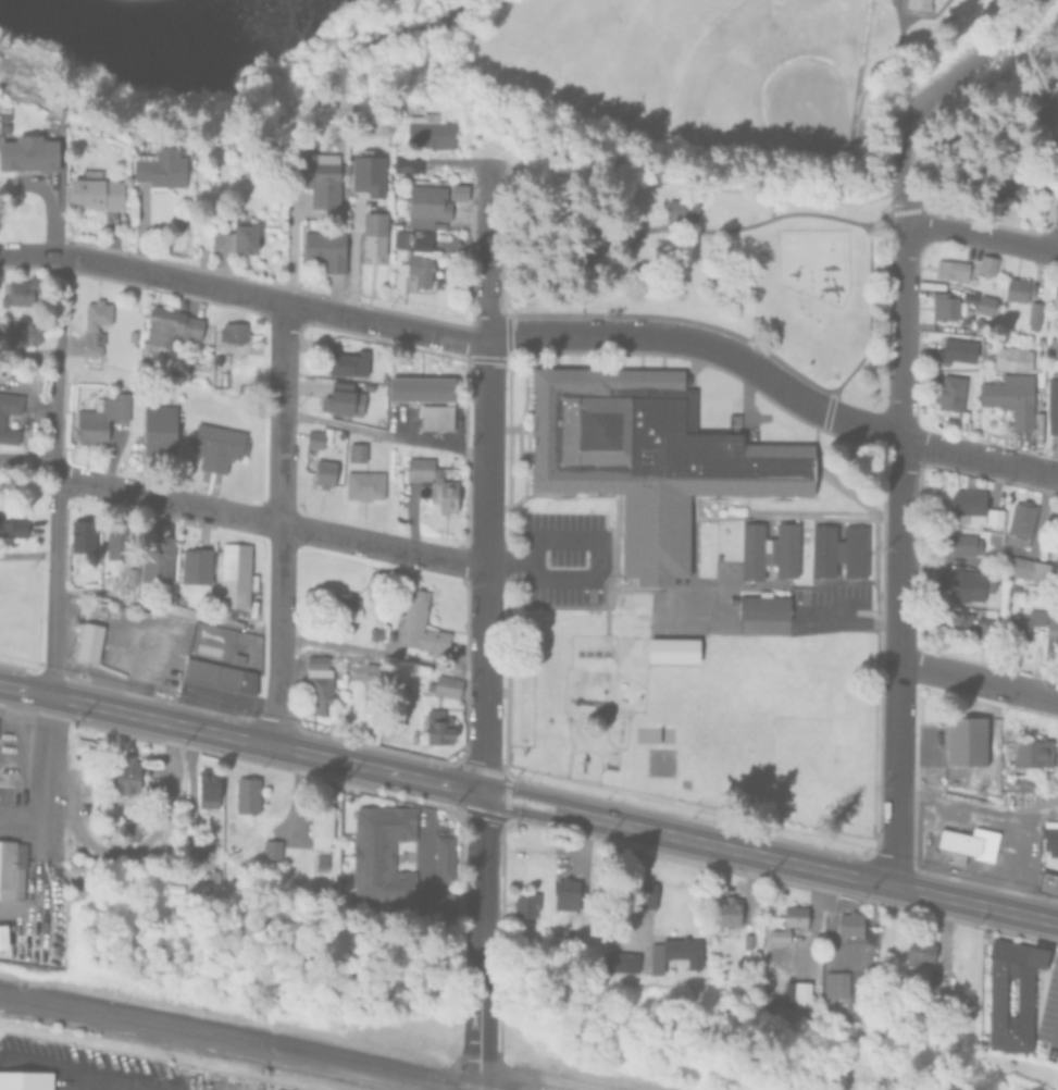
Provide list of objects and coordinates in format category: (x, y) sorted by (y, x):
building: (917, 4)
river: (153, 54)
park: (771, 75)
road: (1049, 100)
building: (430, 132)
building: (28, 153)
park: (768, 157)
building: (407, 163)
building: (160, 169)
road: (1049, 172)
building: (368, 174)
building: (320, 177)
road: (903, 187)
building: (96, 191)
building: (428, 206)
building: (683, 211)
road: (705, 230)
road: (980, 234)
building: (375, 236)
building: (237, 238)
building: (326, 248)
building: (419, 258)
building: (984, 262)
building: (949, 268)
building: (1015, 286)
building: (20, 292)
building: (1054, 295)
building: (966, 296)
building: (983, 304)
building: (942, 305)
building: (1031, 313)
building: (95, 323)
building: (170, 326)
building: (22, 327)
building: (234, 330)
road: (458, 339)
building: (1050, 344)
building: (956, 347)
building: (983, 347)
building: (1009, 354)
building: (349, 360)
road: (58, 363)
building: (1035, 372)
building: (422, 385)
building: (946, 391)
building: (1008, 395)
building: (344, 396)
building: (1051, 404)
building: (437, 414)
building: (98, 416)
building: (1, 418)
building: (948, 420)
building: (159, 428)
road: (383, 433)
building: (314, 436)
building: (216, 444)
building: (357, 449)
road: (979, 456)
road: (27, 460)
building: (645, 460)
building: (324, 471)
road: (485, 478)
building: (433, 480)
building: (364, 482)
building: (964, 499)
building: (12, 520)
building: (994, 521)
building: (1017, 521)
road: (279, 523)
road: (267, 524)
building: (83, 532)
building: (119, 541)
building: (958, 542)
building: (781, 552)
building: (818, 552)
building: (848, 552)
building: (746, 553)
road: (26, 555)
building: (158, 558)
parking lot: (558, 560)
building: (197, 563)
building: (1026, 567)
building: (234, 572)
road: (596, 578)
building: (374, 580)
building: (961, 581)
parking lot: (829, 595)
building: (340, 603)
building: (760, 609)
building: (1023, 619)
building: (953, 621)
road: (848, 622)
building: (421, 624)
building: (984, 624)
building: (1049, 630)
building: (374, 631)
building: (88, 641)
road: (48, 646)
building: (237, 653)
road: (897, 660)
building: (369, 668)
building: (219, 673)
road: (951, 676)
building: (318, 683)
building: (447, 684)
road: (1032, 693)
building: (438, 726)
building: (960, 740)
park: (788, 751)
building: (1029, 752)
building: (85, 755)
building: (127, 773)
building: (1020, 780)
building: (209, 785)
building: (247, 793)
road: (528, 802)
building: (321, 823)
building: (231, 825)
building: (128, 829)
building: (1048, 834)
building: (966, 841)
road: (130, 847)
building: (272, 847)
building: (382, 854)
building: (444, 857)
building: (10, 864)
building: (213, 876)
building: (1046, 880)
building: (642, 889)
building: (563, 891)
building: (526, 902)
building: (726, 908)
building: (786, 919)
building: (848, 920)
building: (745, 938)
road: (480, 941)
building: (917, 947)
building: (675, 950)
building: (620, 958)
building: (931, 974)
building: (834, 981)
building: (794, 990)
building: (995, 996)
railway: (244, 1037)
road: (540, 1077)
building: (25, 1079)
road: (123, 1087)

